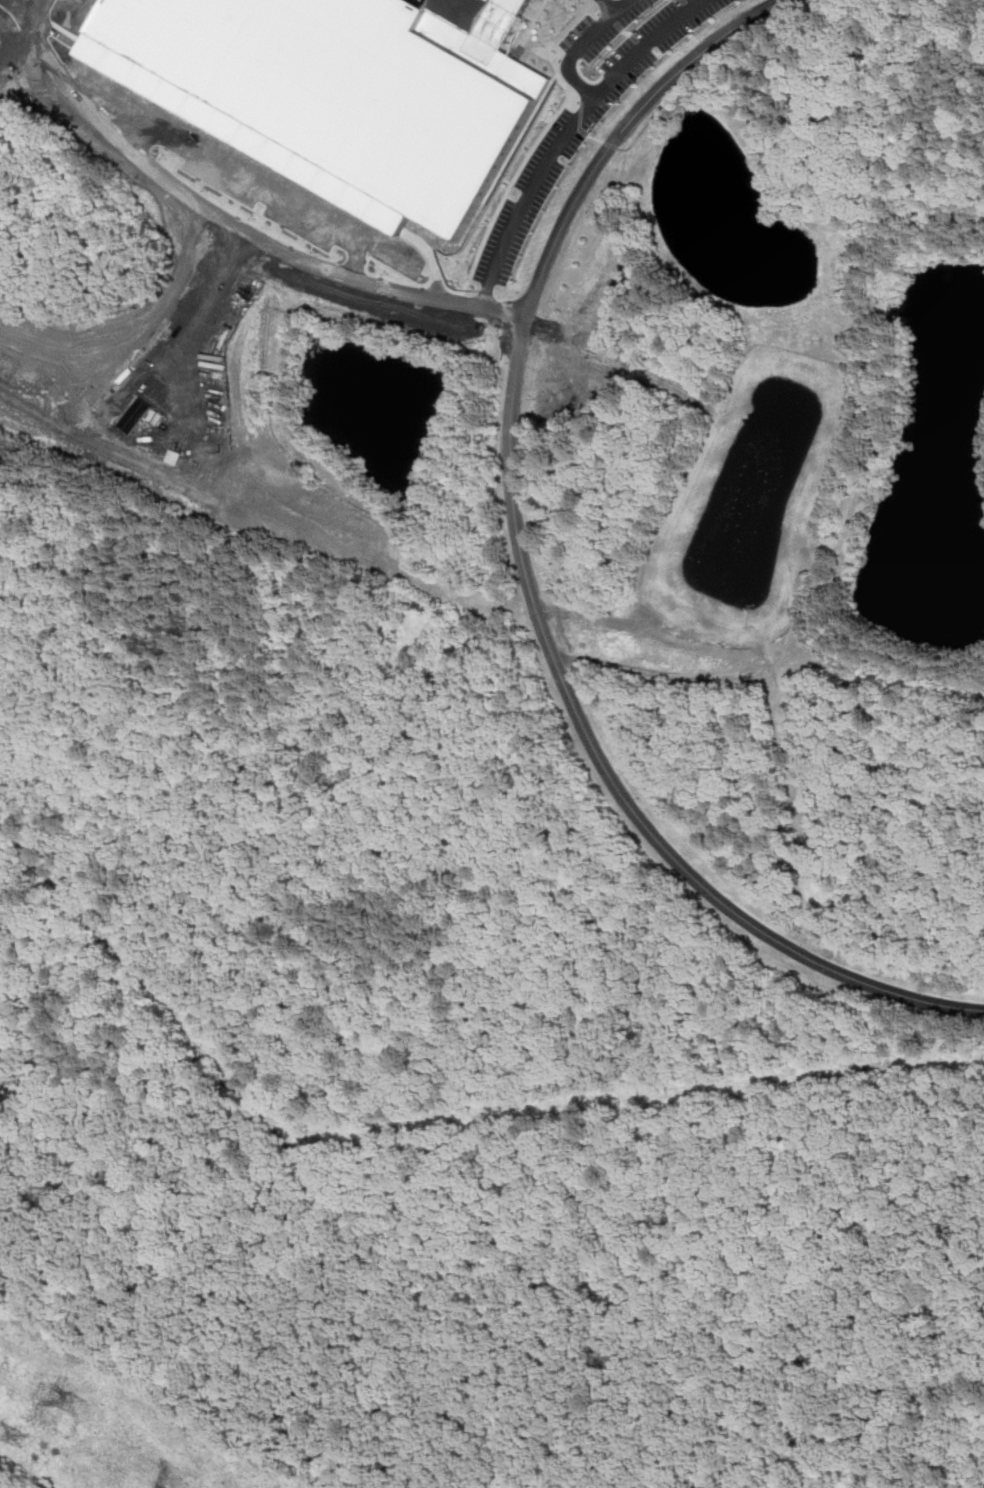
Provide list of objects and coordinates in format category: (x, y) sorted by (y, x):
road: (615, 3)
building: (483, 22)
road: (638, 43)
road: (713, 60)
building: (338, 88)
road: (611, 144)
road: (556, 146)
road: (238, 224)
road: (203, 324)
road: (526, 572)
building: (416, 603)
power tower: (74, 1405)
power tower: (19, 1441)

